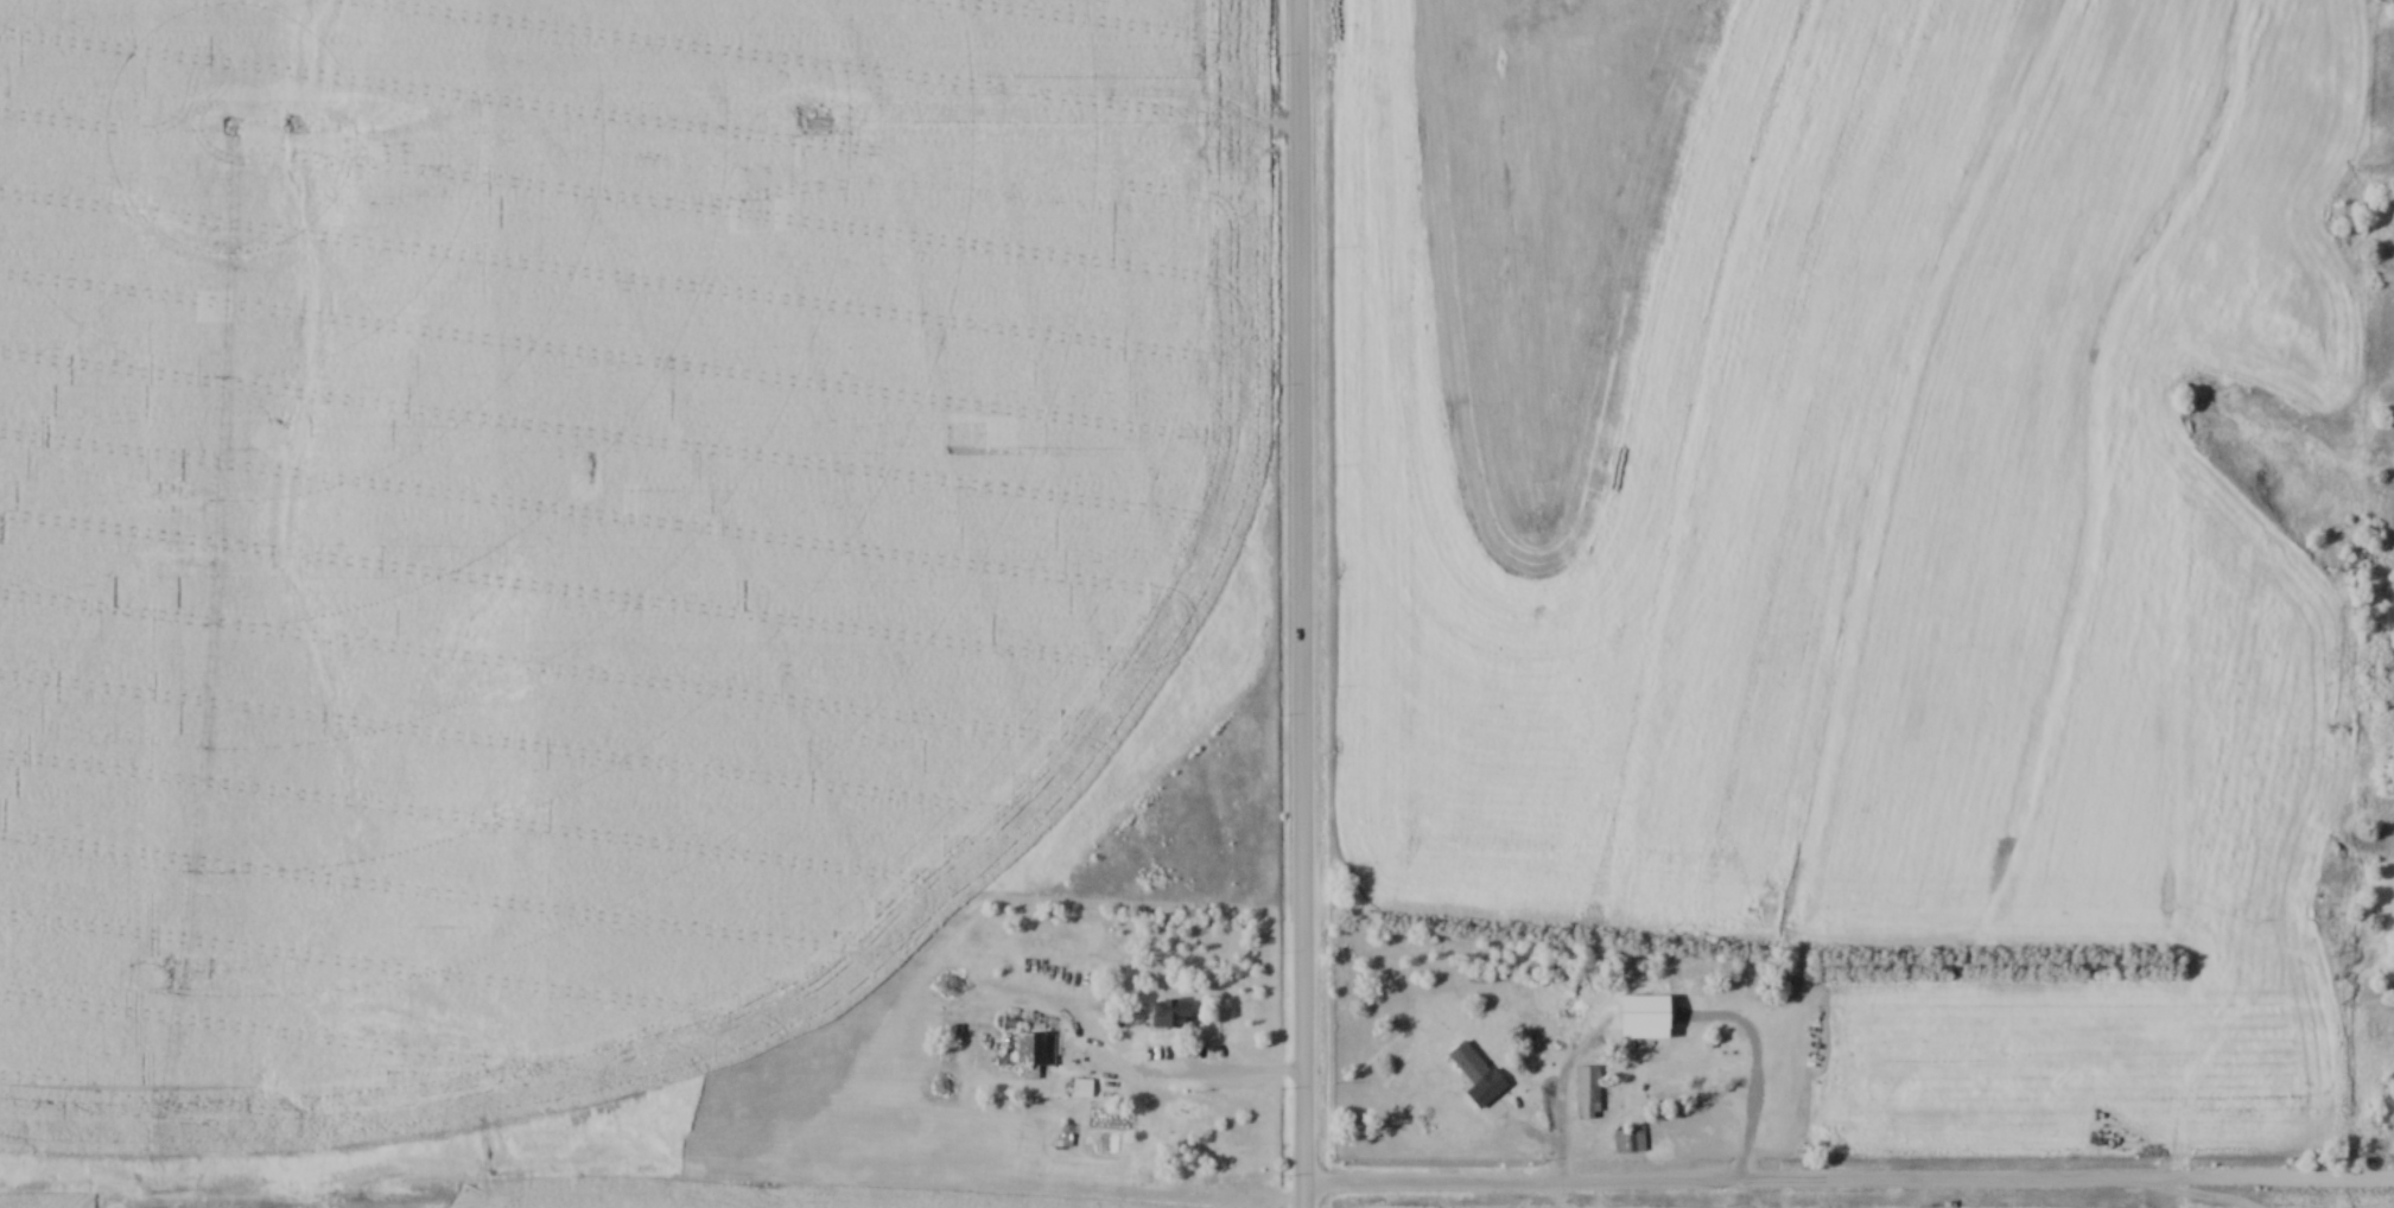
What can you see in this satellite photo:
road: (1295, 603)
building: (1173, 1017)
building: (1560, 1038)
building: (1037, 1053)
road: (1218, 1070)
building: (1084, 1091)
building: (1589, 1094)
building: (1632, 1142)
road: (1846, 1182)

